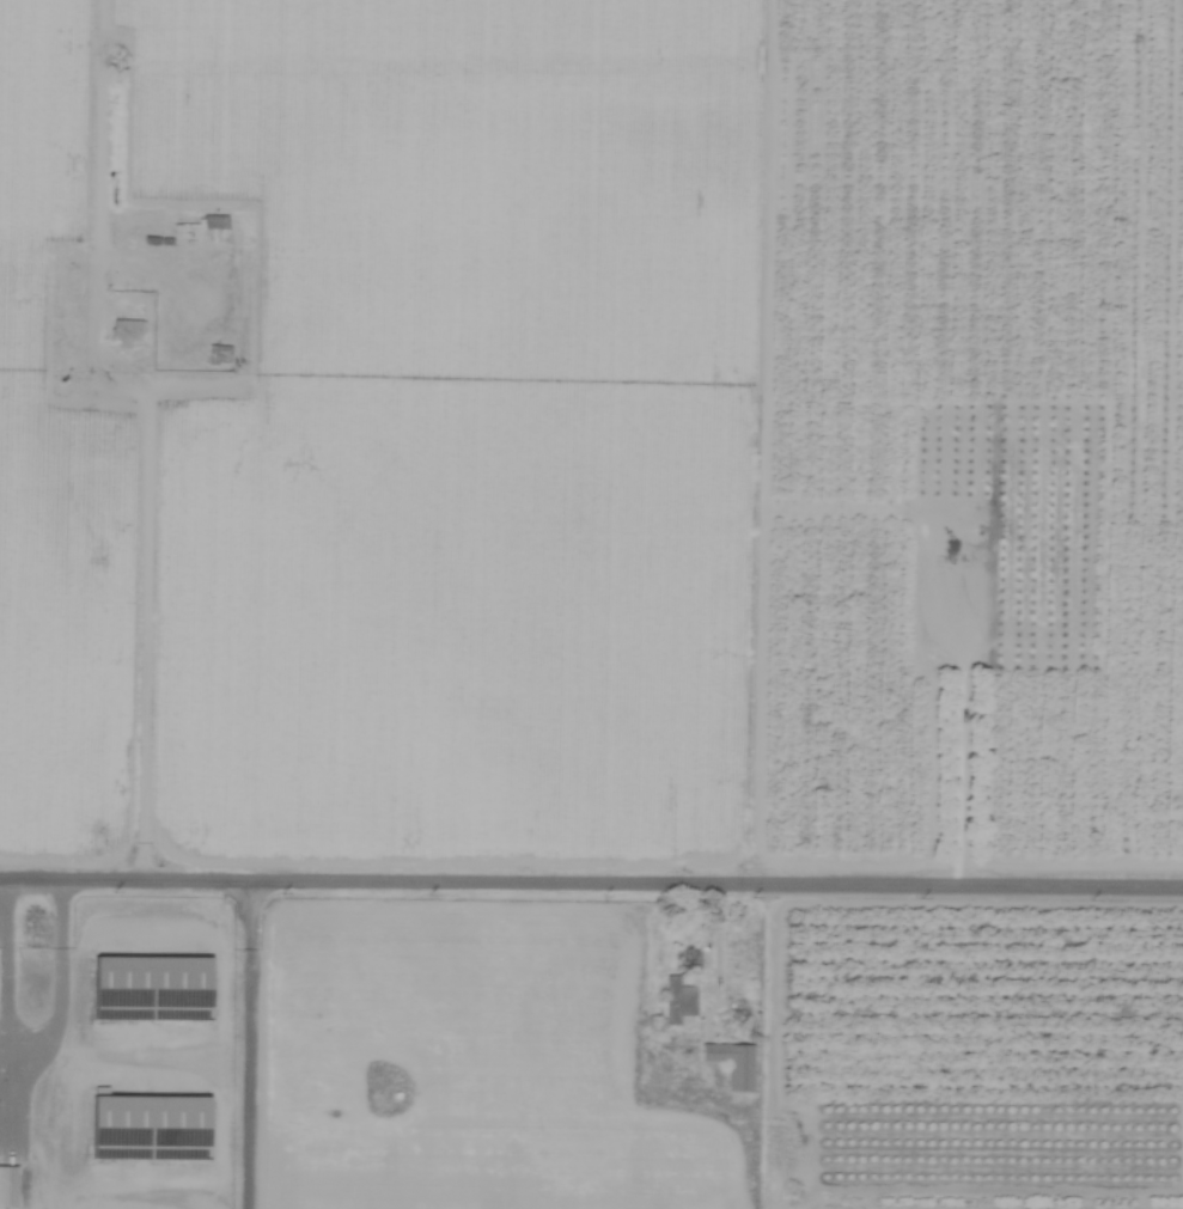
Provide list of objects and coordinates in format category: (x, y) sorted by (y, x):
building: (200, 231)
building: (124, 332)
crop: (622, 576)
road: (152, 603)
road: (591, 877)
road: (60, 978)
building: (150, 989)
building: (676, 1001)
road: (6, 1008)
road: (248, 1042)
building: (731, 1064)
building: (148, 1128)
building: (7, 1187)

